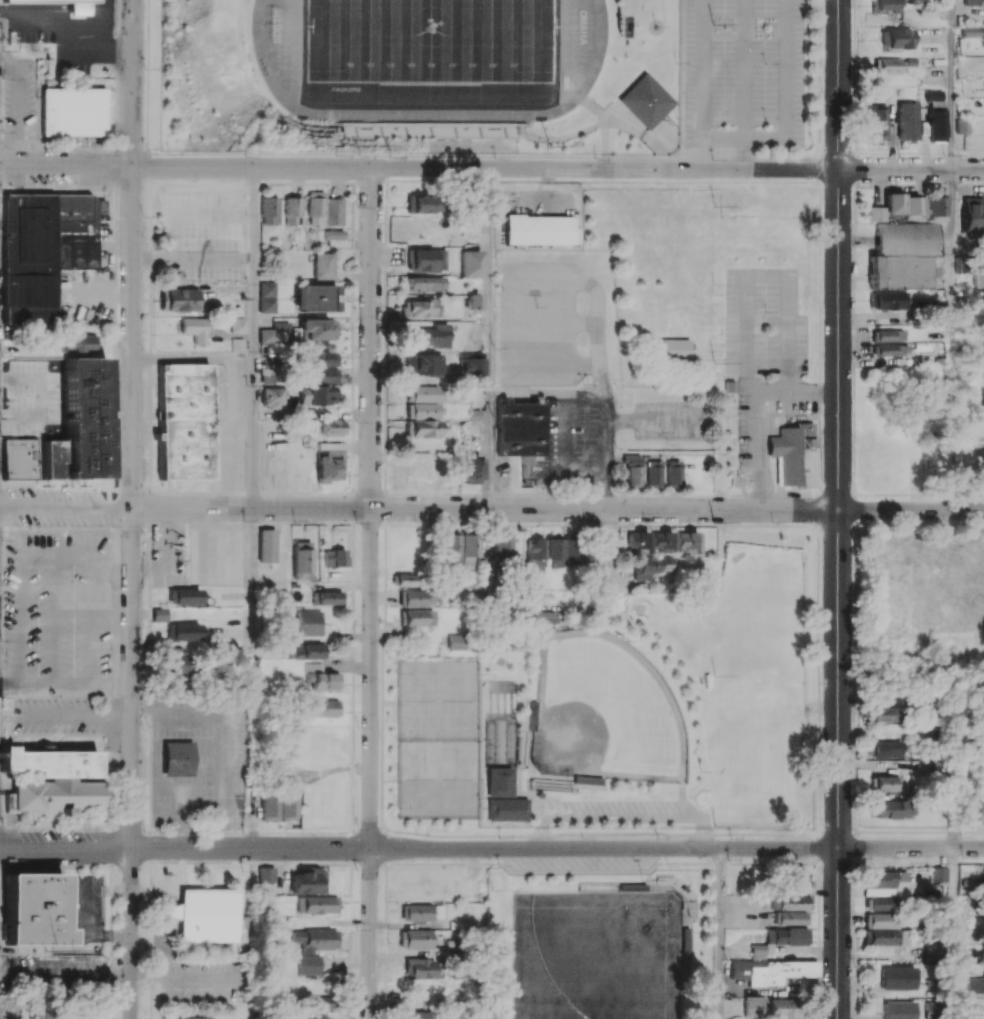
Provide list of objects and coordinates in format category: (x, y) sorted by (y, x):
building: (48, 1)
building: (972, 2)
road: (103, 6)
building: (887, 6)
building: (75, 11)
road: (52, 12)
road: (31, 18)
building: (971, 31)
road: (104, 33)
building: (896, 38)
park: (430, 39)
road: (82, 42)
road: (79, 51)
road: (118, 55)
track: (597, 61)
building: (889, 65)
road: (704, 70)
road: (744, 70)
road: (786, 70)
parking lot: (746, 73)
road: (953, 84)
building: (934, 95)
building: (645, 101)
building: (73, 111)
building: (907, 120)
building: (876, 121)
building: (937, 125)
building: (963, 125)
building: (429, 133)
road: (724, 140)
road: (765, 140)
road: (744, 154)
road: (419, 168)
road: (911, 169)
building: (211, 201)
building: (422, 204)
building: (899, 207)
building: (315, 208)
building: (936, 209)
building: (269, 210)
building: (292, 211)
building: (334, 211)
building: (972, 214)
road: (952, 228)
building: (539, 229)
building: (334, 234)
building: (43, 250)
building: (903, 255)
road: (193, 258)
building: (424, 259)
building: (470, 263)
building: (322, 265)
building: (971, 266)
building: (425, 283)
road: (253, 290)
building: (267, 297)
building: (315, 298)
building: (179, 299)
building: (887, 300)
building: (472, 301)
building: (420, 308)
building: (238, 324)
building: (195, 328)
building: (317, 329)
building: (429, 335)
building: (889, 335)
road: (489, 338)
building: (77, 343)
building: (676, 348)
building: (890, 350)
building: (321, 358)
building: (421, 364)
building: (470, 368)
building: (267, 375)
building: (320, 375)
building: (316, 395)
building: (273, 397)
building: (420, 412)
road: (757, 412)
road: (312, 414)
building: (183, 421)
road: (839, 424)
road: (132, 425)
building: (333, 427)
building: (519, 428)
building: (793, 455)
building: (19, 459)
road: (252, 461)
building: (418, 468)
building: (632, 468)
building: (470, 470)
building: (653, 472)
building: (673, 472)
road: (370, 508)
road: (419, 508)
road: (601, 509)
road: (911, 510)
building: (662, 541)
building: (686, 541)
building: (266, 545)
building: (502, 545)
building: (469, 548)
building: (451, 549)
building: (565, 552)
building: (535, 555)
building: (334, 558)
building: (301, 560)
building: (650, 567)
road: (488, 573)
building: (406, 580)
road: (252, 581)
building: (184, 596)
building: (326, 597)
building: (414, 598)
building: (159, 614)
building: (417, 617)
building: (546, 617)
building: (309, 622)
park: (718, 626)
building: (185, 631)
park: (762, 637)
building: (457, 642)
building: (307, 650)
building: (175, 666)
building: (321, 677)
building: (325, 708)
park: (604, 711)
building: (883, 714)
building: (885, 749)
building: (173, 757)
road: (221, 768)
park: (437, 780)
building: (54, 782)
building: (885, 783)
building: (287, 804)
building: (269, 805)
building: (506, 809)
parking lot: (599, 809)
building: (891, 809)
building: (979, 809)
road: (619, 817)
road: (175, 834)
road: (213, 834)
road: (491, 848)
building: (983, 871)
building: (266, 873)
building: (798, 874)
building: (939, 874)
building: (883, 879)
building: (308, 881)
building: (794, 902)
building: (879, 903)
building: (316, 904)
building: (34, 910)
building: (417, 912)
building: (206, 915)
building: (791, 917)
building: (880, 920)
park: (635, 922)
road: (724, 933)
road: (838, 933)
road: (955, 933)
road: (370, 934)
road: (132, 935)
building: (787, 936)
building: (885, 937)
building: (414, 939)
building: (313, 948)
building: (757, 951)
building: (419, 968)
building: (770, 971)
building: (897, 977)
building: (976, 983)
park: (635, 993)
building: (320, 1001)
building: (754, 1006)
building: (784, 1008)
building: (898, 1009)
building: (419, 1014)
building: (303, 1016)
building: (188, 1017)

